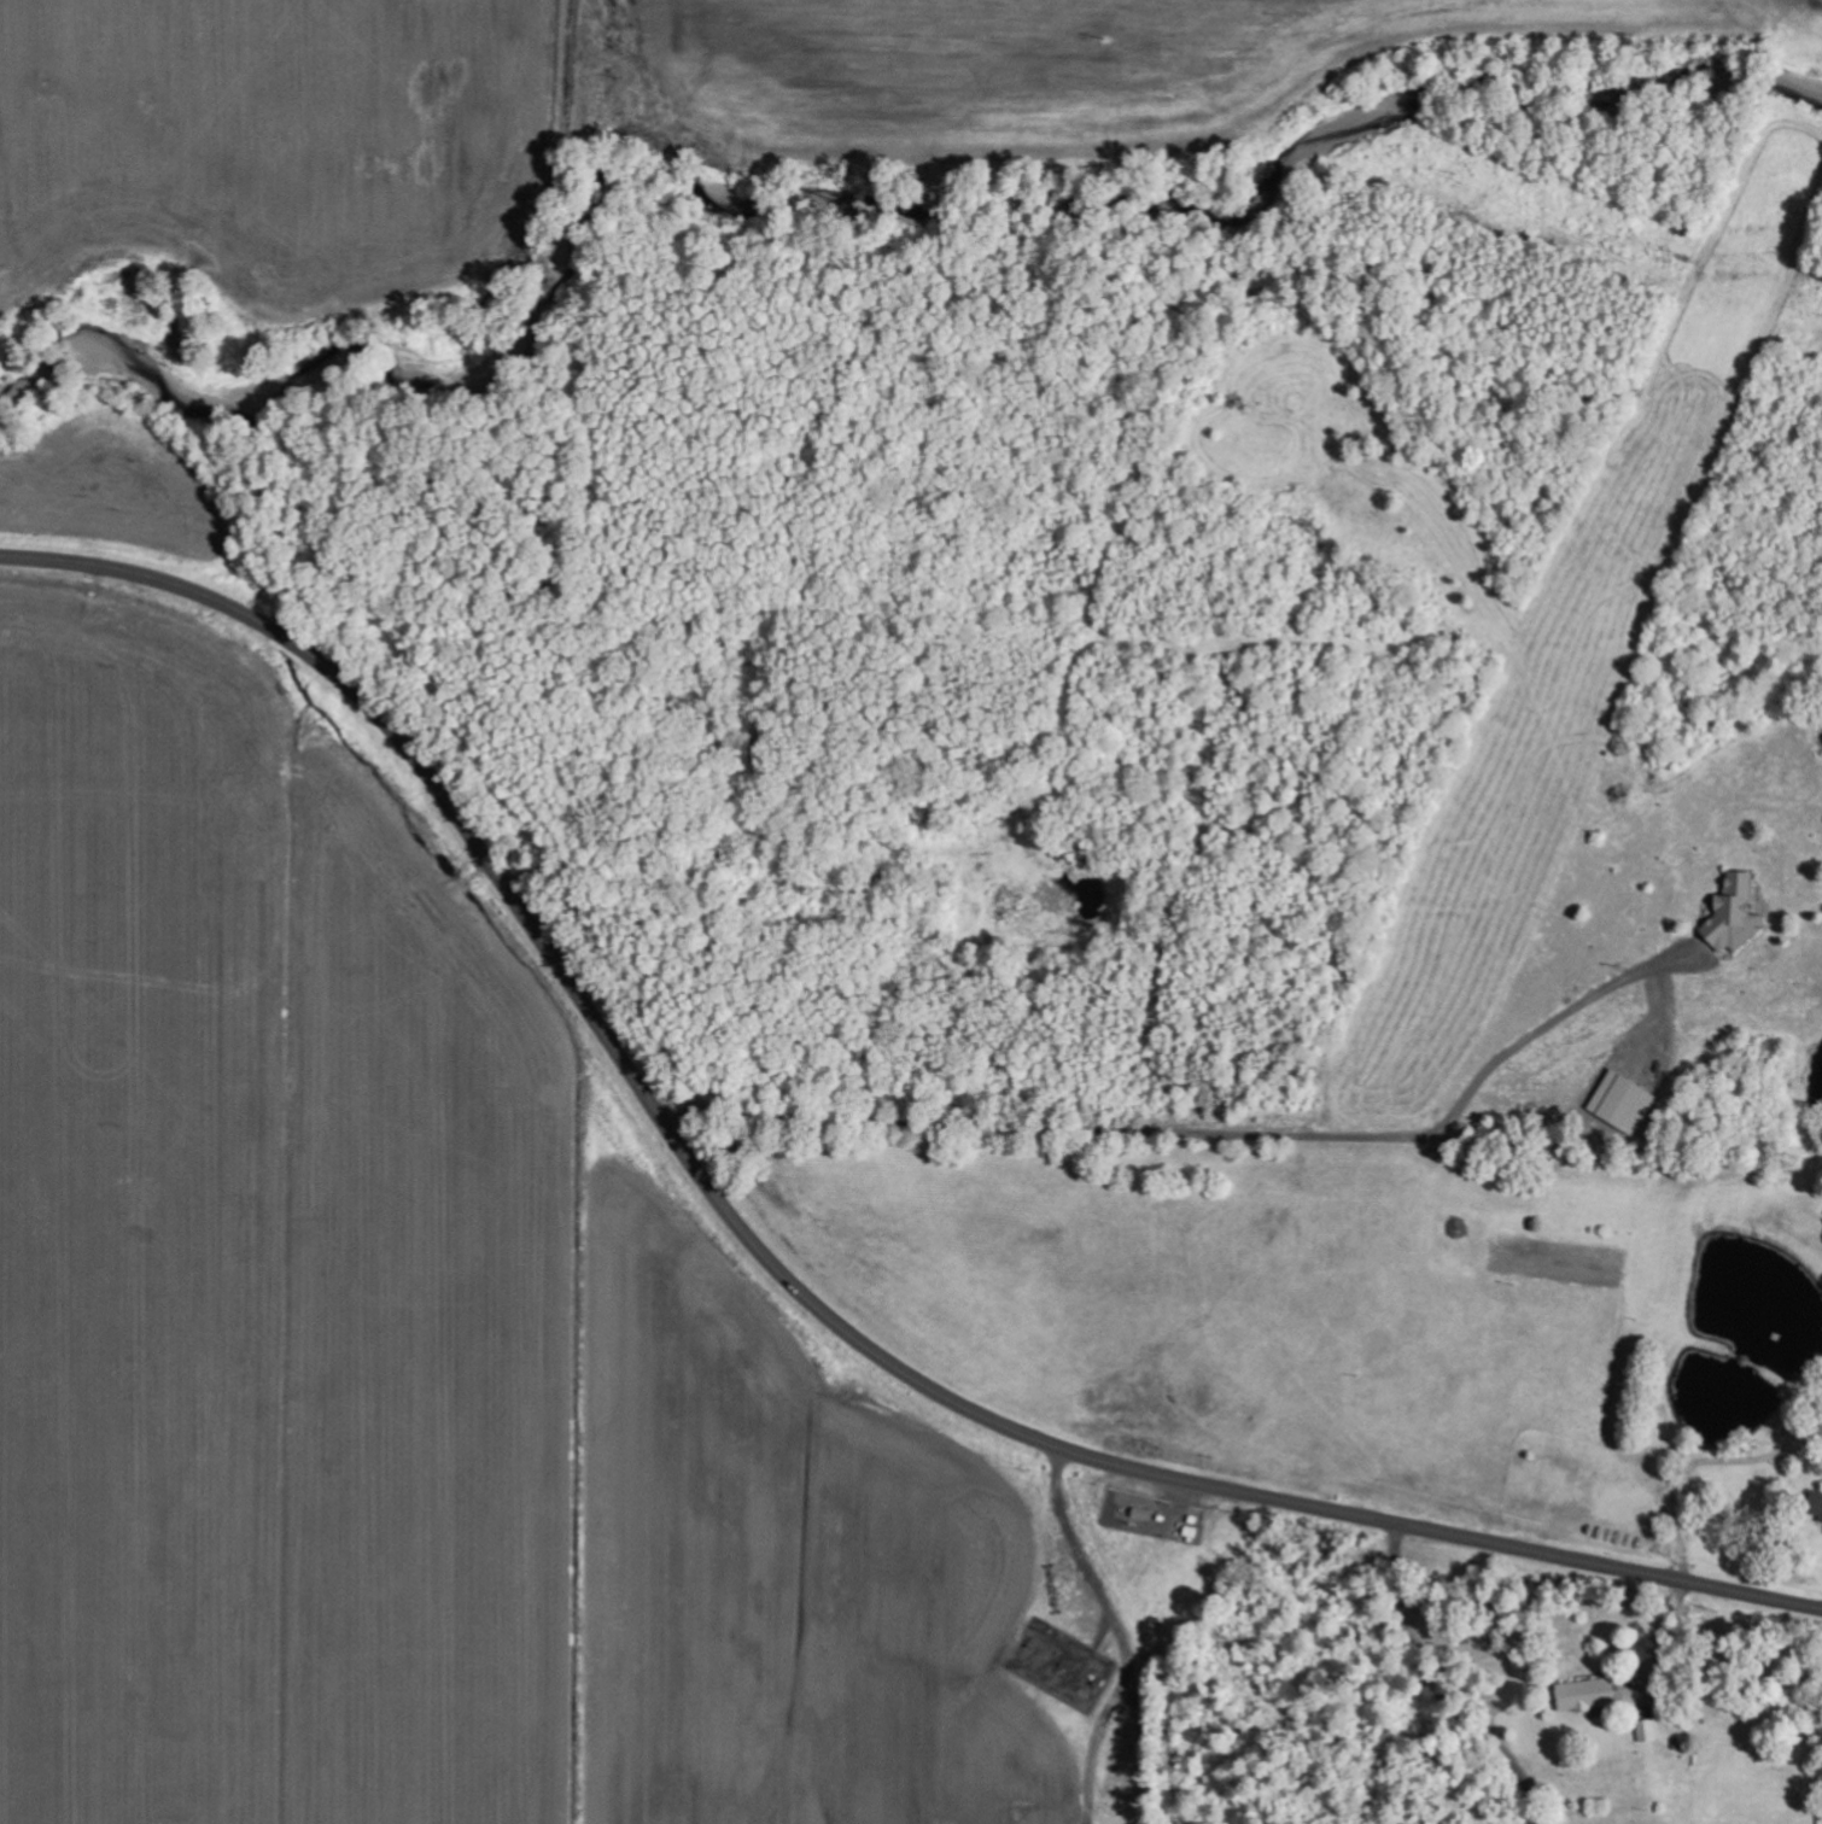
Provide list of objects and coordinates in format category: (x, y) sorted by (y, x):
building: (1735, 916)
road: (641, 1088)
building: (1623, 1103)
road: (1251, 1134)
building: (1816, 1502)
building: (1821, 1519)
road: (1593, 1566)
road: (1435, 1683)
building: (1588, 1695)
building: (1648, 1730)

